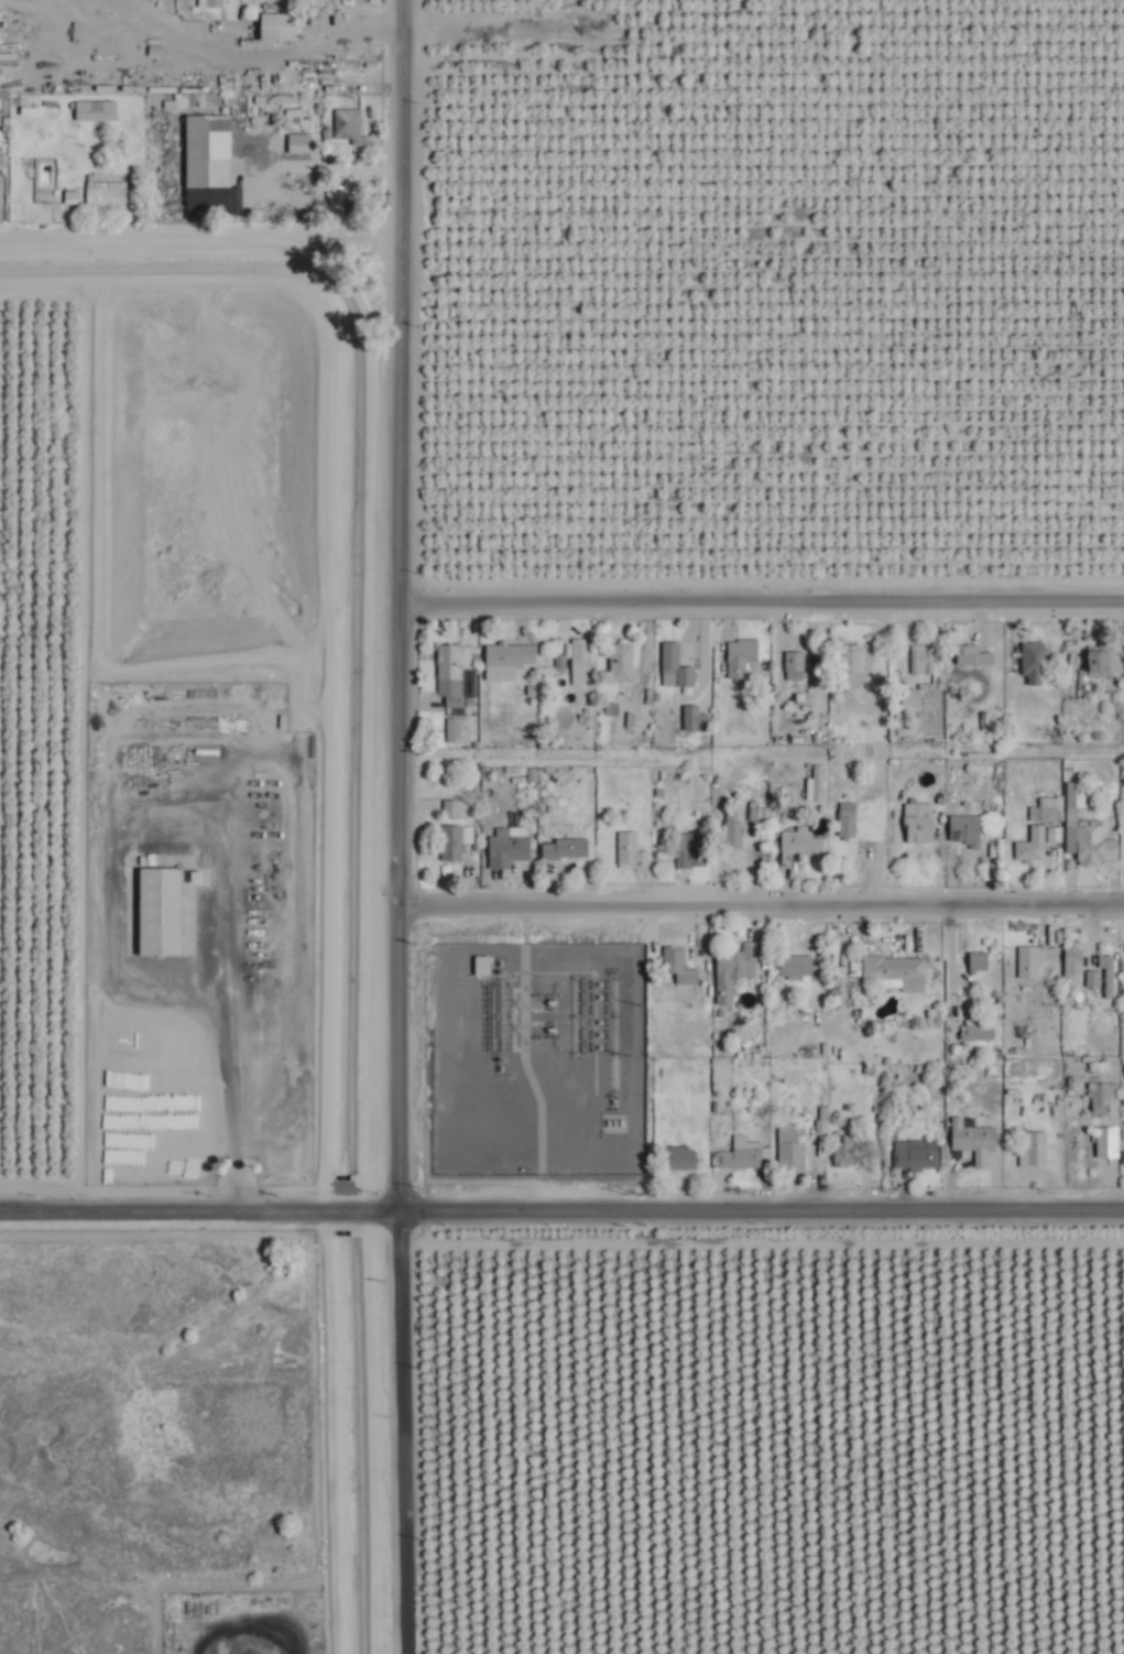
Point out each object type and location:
building: (276, 26)
building: (89, 110)
building: (345, 126)
building: (207, 137)
building: (297, 142)
road: (318, 174)
building: (103, 195)
road: (754, 595)
road: (384, 600)
building: (970, 656)
building: (739, 659)
building: (505, 660)
building: (917, 660)
building: (578, 661)
building: (790, 662)
building: (620, 663)
building: (849, 663)
building: (1030, 663)
building: (1098, 663)
building: (672, 667)
building: (449, 671)
building: (908, 696)
building: (691, 719)
building: (455, 730)
building: (811, 785)
building: (451, 810)
building: (843, 820)
building: (915, 826)
building: (729, 830)
building: (961, 830)
building: (1082, 833)
building: (448, 844)
building: (795, 844)
building: (1029, 845)
building: (561, 849)
building: (504, 851)
building: (626, 851)
building: (687, 851)
road: (753, 897)
building: (161, 912)
building: (736, 959)
building: (973, 961)
building: (1026, 961)
building: (675, 967)
building: (793, 967)
building: (890, 969)
building: (1069, 969)
building: (1100, 977)
building: (721, 993)
building: (974, 1032)
building: (1100, 1099)
building: (970, 1141)
building: (1103, 1142)
building: (786, 1150)
building: (1029, 1150)
building: (842, 1152)
building: (736, 1154)
building: (675, 1157)
building: (909, 1157)
road: (753, 1201)
road: (192, 1203)
road: (394, 1428)

